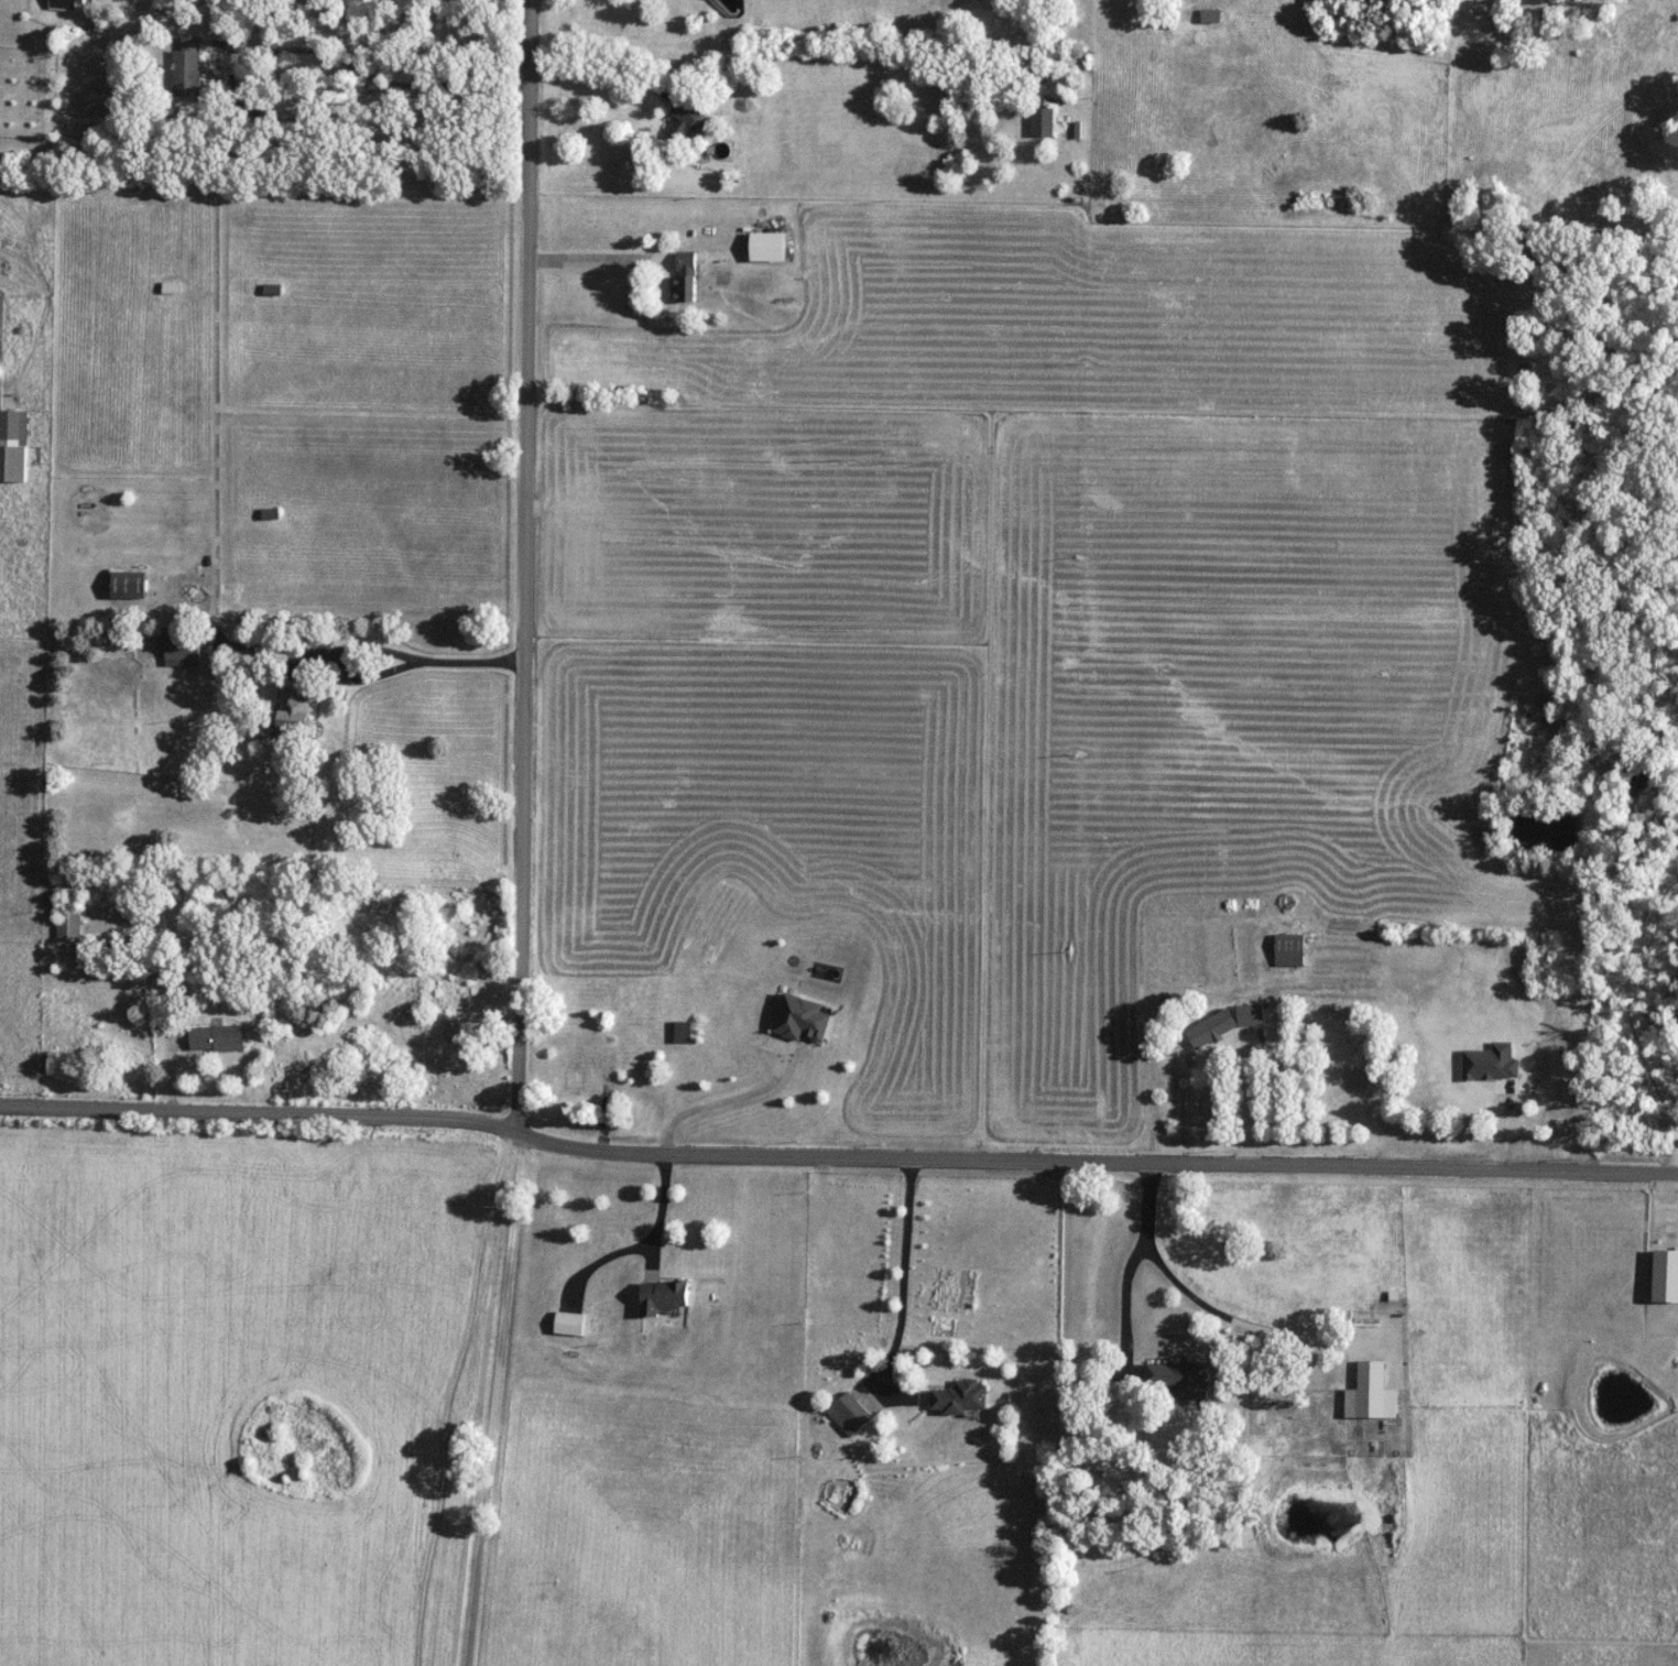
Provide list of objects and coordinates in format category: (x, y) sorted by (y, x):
building: (66, 4)
building: (1212, 17)
building: (1546, 17)
road: (279, 48)
road: (600, 59)
building: (187, 68)
building: (686, 121)
building: (1044, 123)
building: (771, 246)
road: (599, 260)
building: (687, 277)
building: (171, 288)
building: (273, 290)
building: (13, 446)
building: (272, 514)
road: (531, 565)
building: (131, 585)
building: (183, 647)
road: (377, 650)
building: (294, 710)
building: (69, 923)
building: (1288, 950)
road: (1638, 978)
building: (633, 994)
building: (601, 1005)
building: (1224, 1024)
building: (683, 1032)
building: (217, 1038)
building: (609, 1064)
building: (577, 1072)
building: (1484, 1077)
road: (1249, 1099)
road: (727, 1100)
road: (264, 1110)
road: (1101, 1157)
road: (658, 1207)
building: (1665, 1277)
road: (897, 1286)
building: (666, 1297)
road: (1199, 1299)
building: (571, 1324)
building: (1177, 1379)
building: (1370, 1395)
road: (504, 1397)
building: (958, 1398)
building: (851, 1415)

